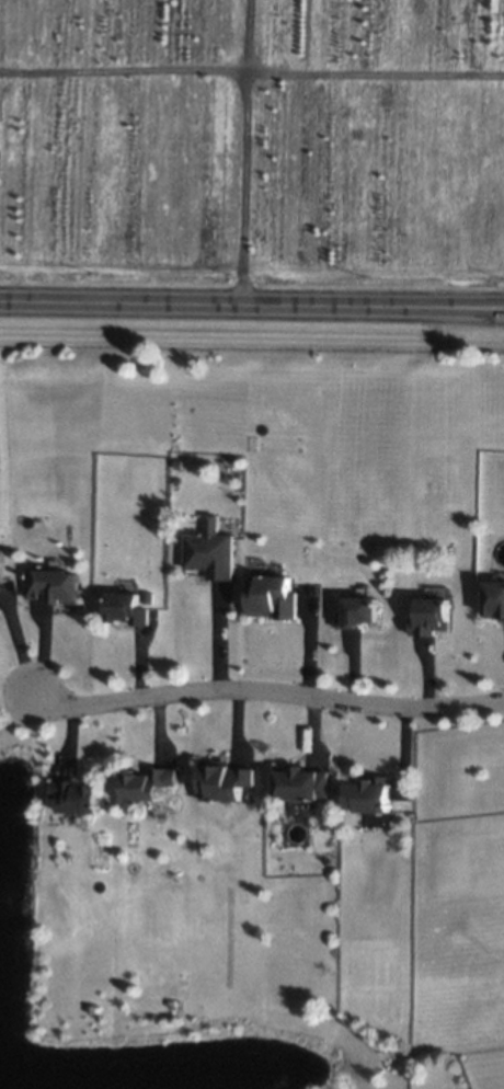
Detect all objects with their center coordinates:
crop: (253, 128)
road: (252, 305)
building: (211, 554)
building: (54, 586)
building: (2, 598)
building: (275, 598)
building: (497, 600)
building: (133, 608)
building: (363, 611)
building: (436, 614)
road: (266, 690)
building: (225, 780)
building: (153, 782)
building: (300, 783)
building: (378, 795)
building: (80, 796)

